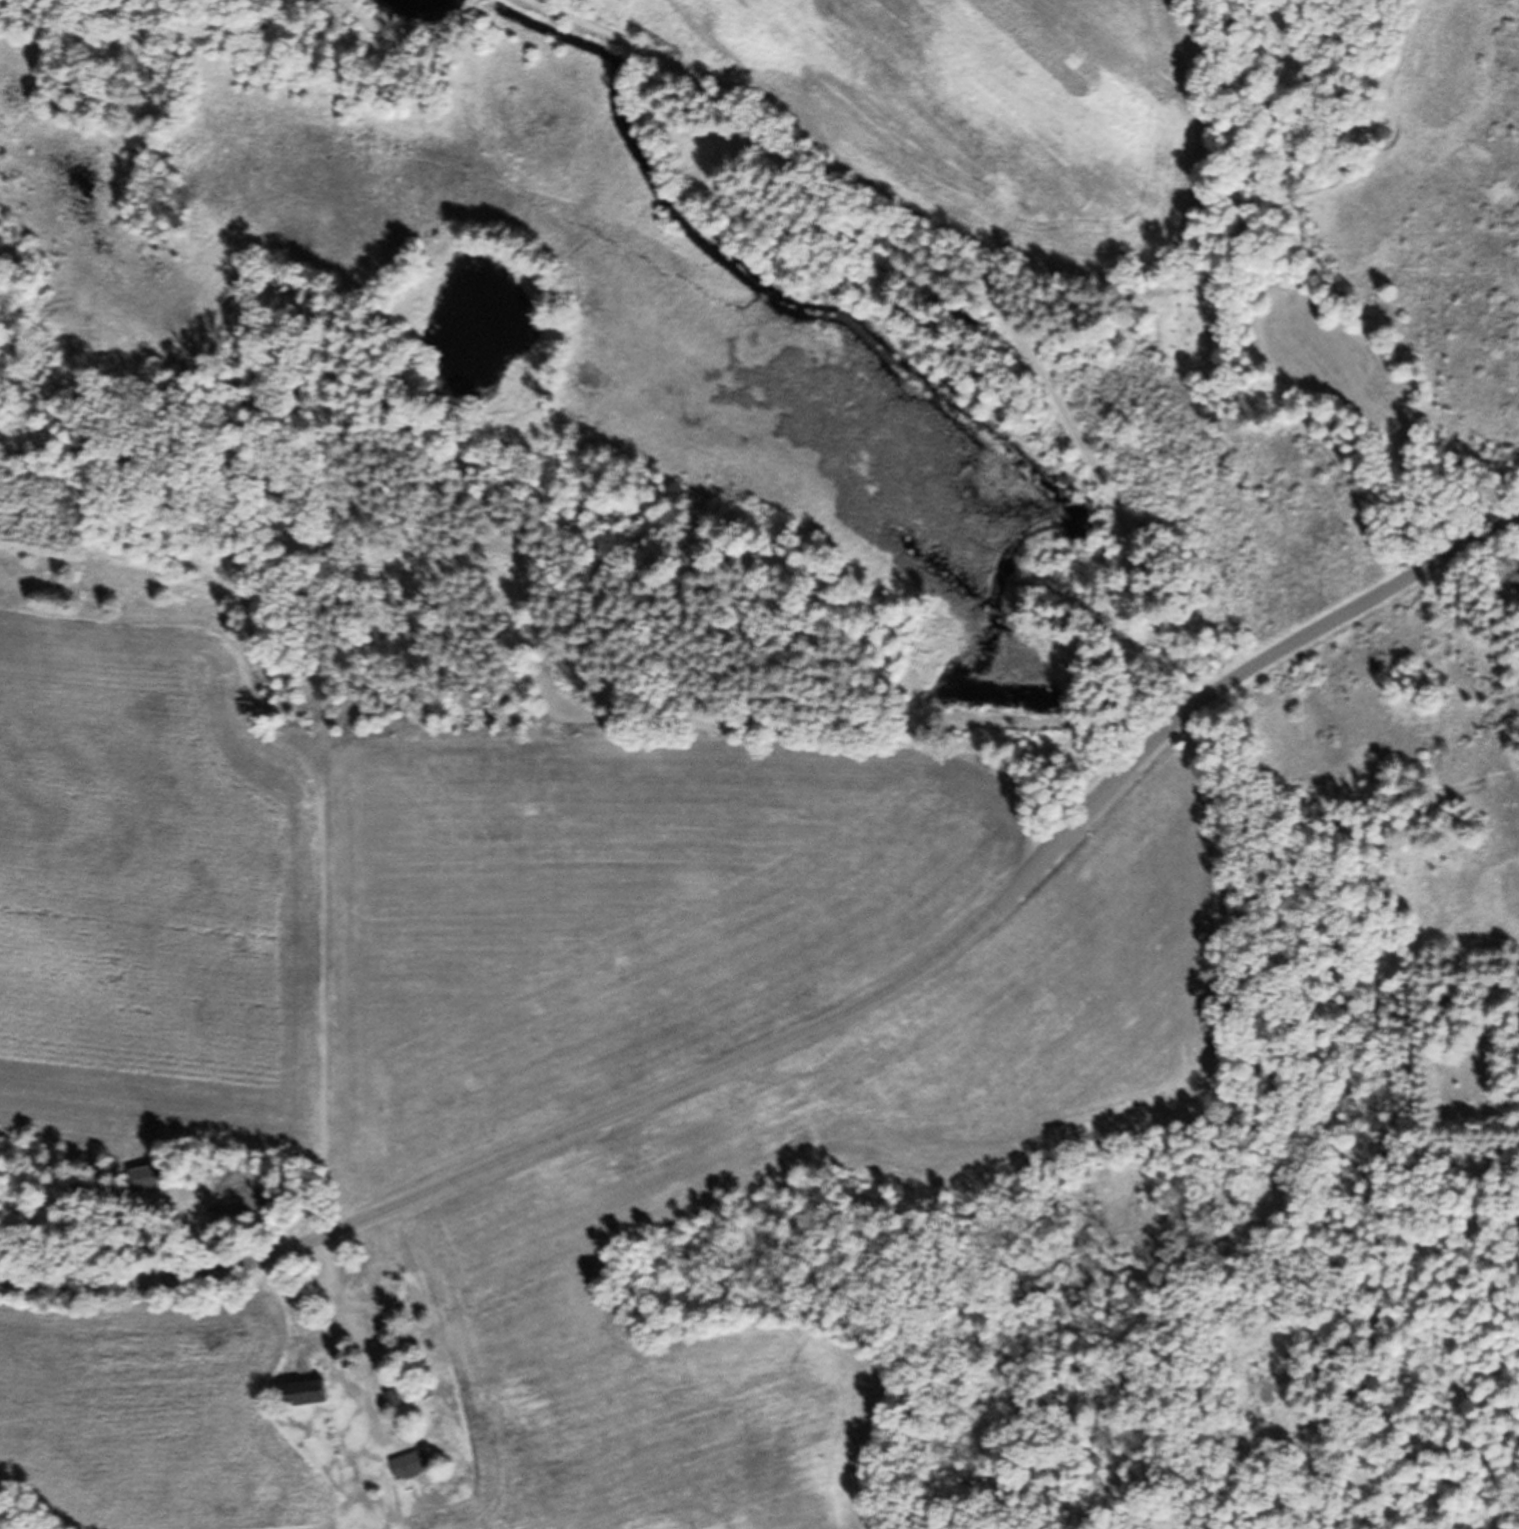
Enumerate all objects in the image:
road: (945, 278)
building: (1514, 591)
road: (831, 1016)
building: (150, 1186)
building: (313, 1401)
building: (400, 1407)
building: (411, 1473)

